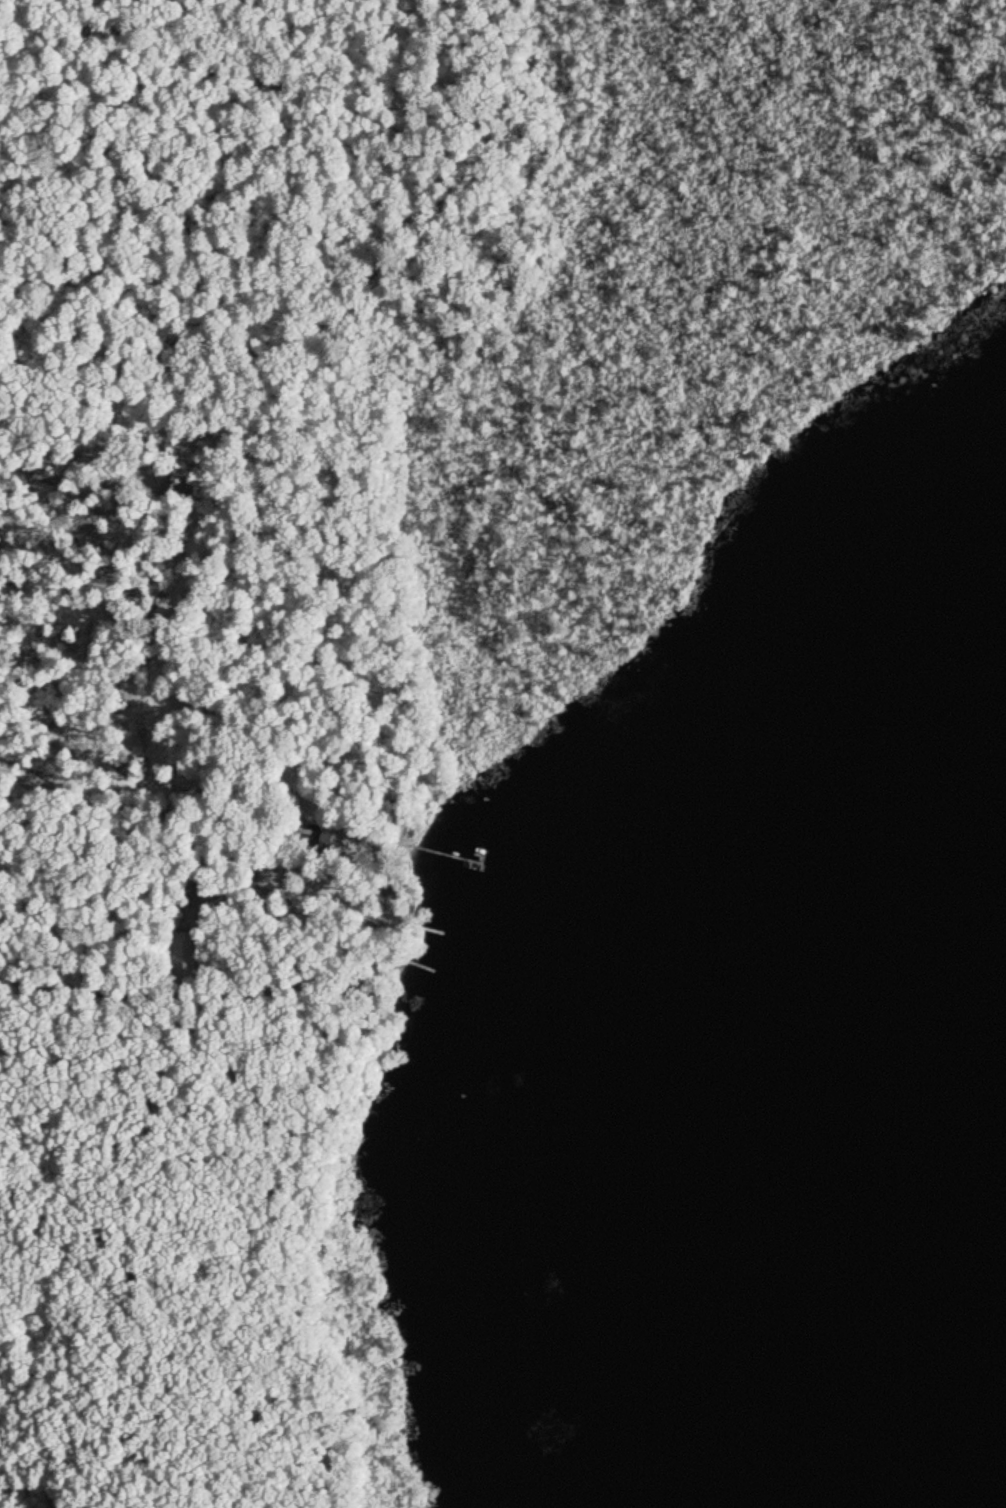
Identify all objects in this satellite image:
road: (124, 788)
road: (1, 801)
road: (69, 802)
building: (260, 874)
road: (137, 995)
road: (150, 1065)

